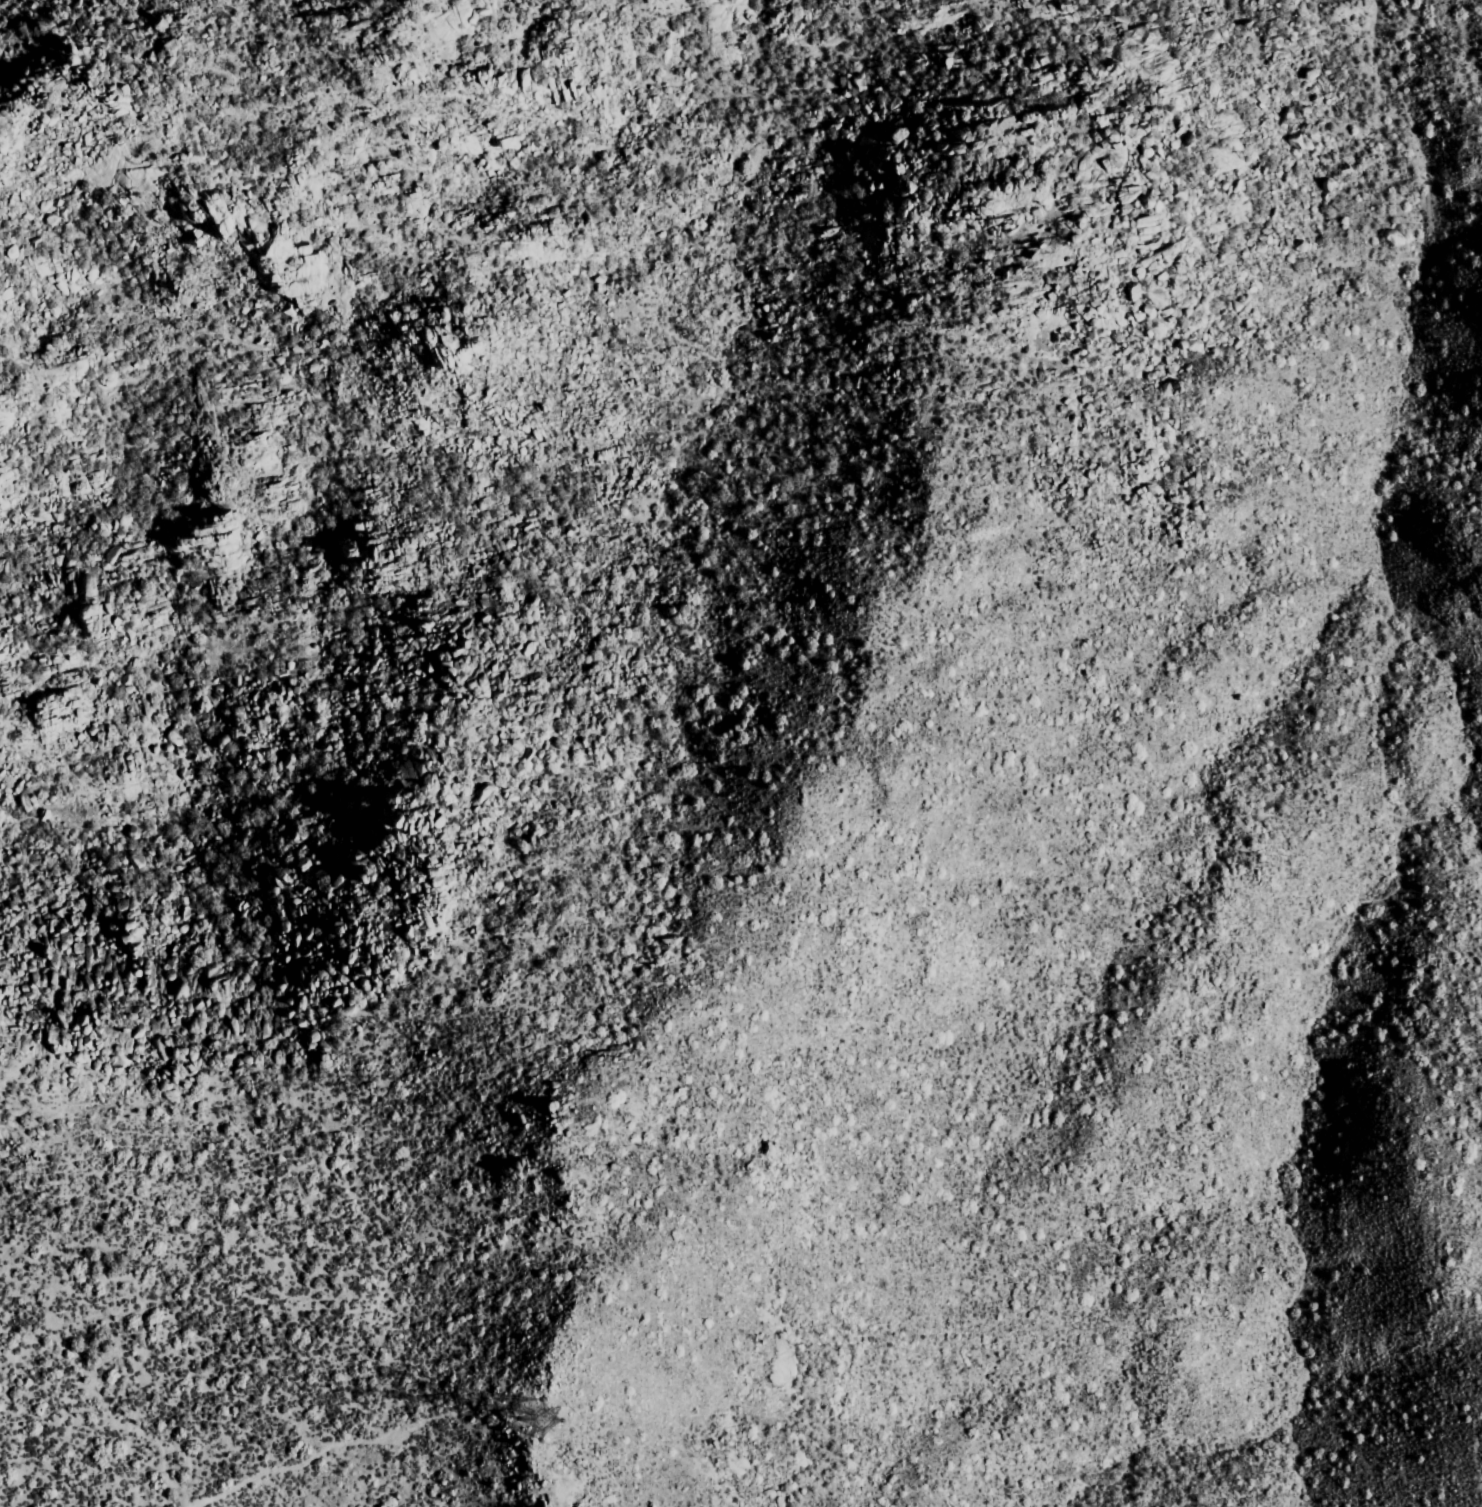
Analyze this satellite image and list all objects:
power tower: (551, 1424)

